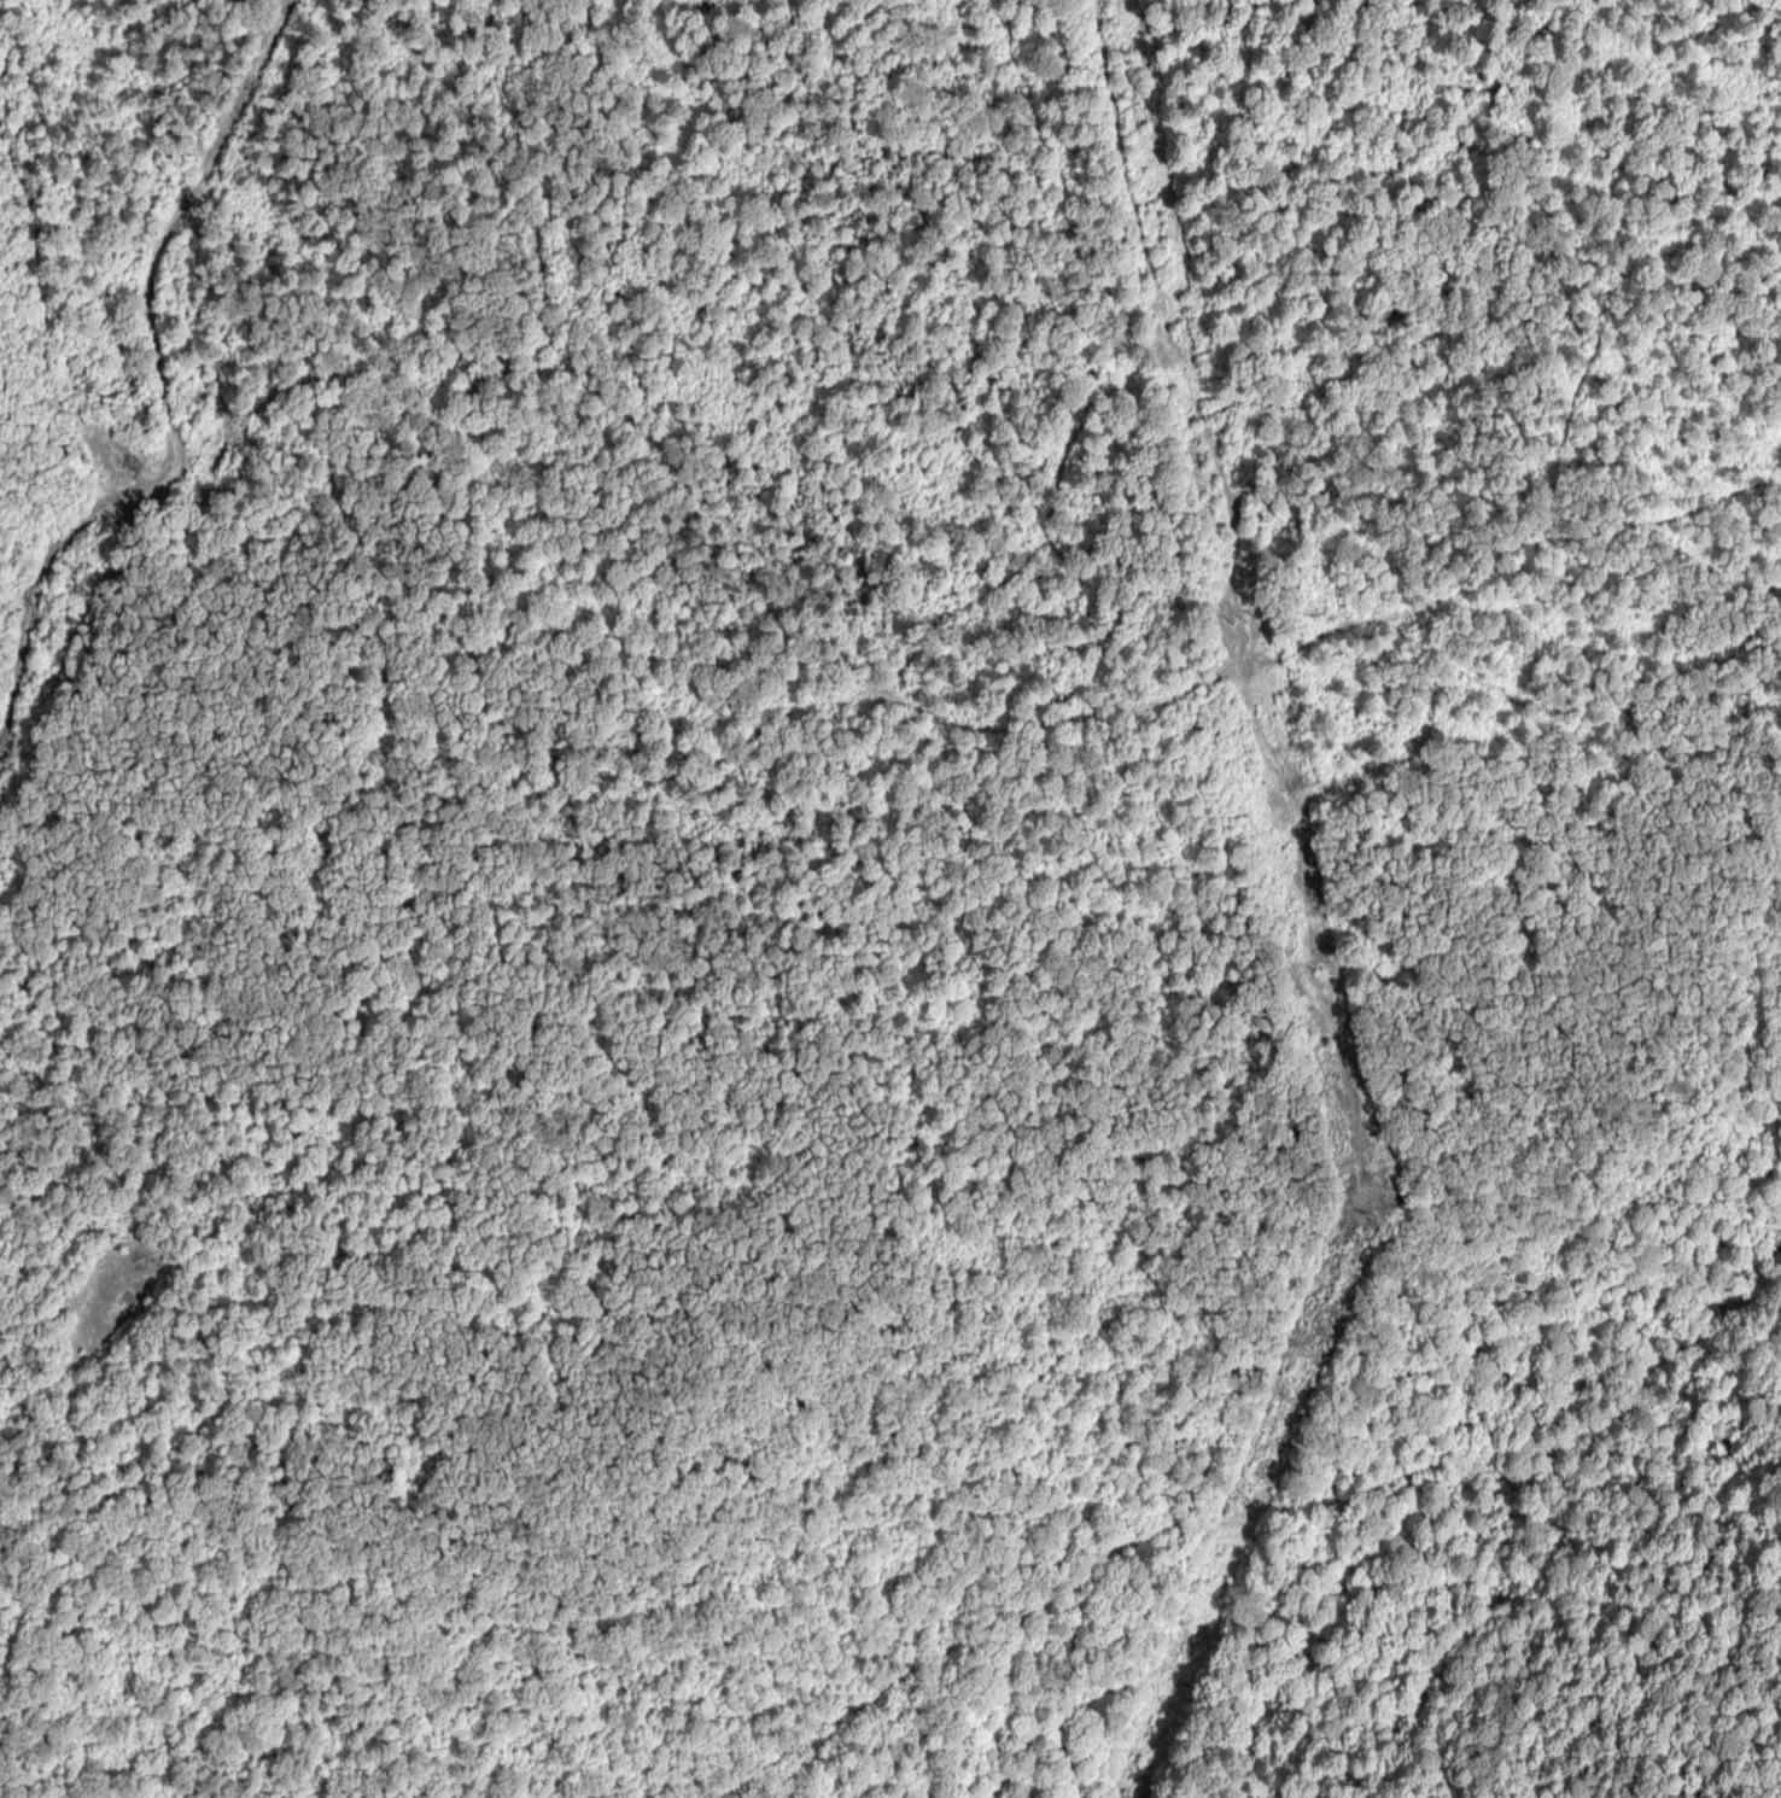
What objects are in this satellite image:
road: (168, 391)

